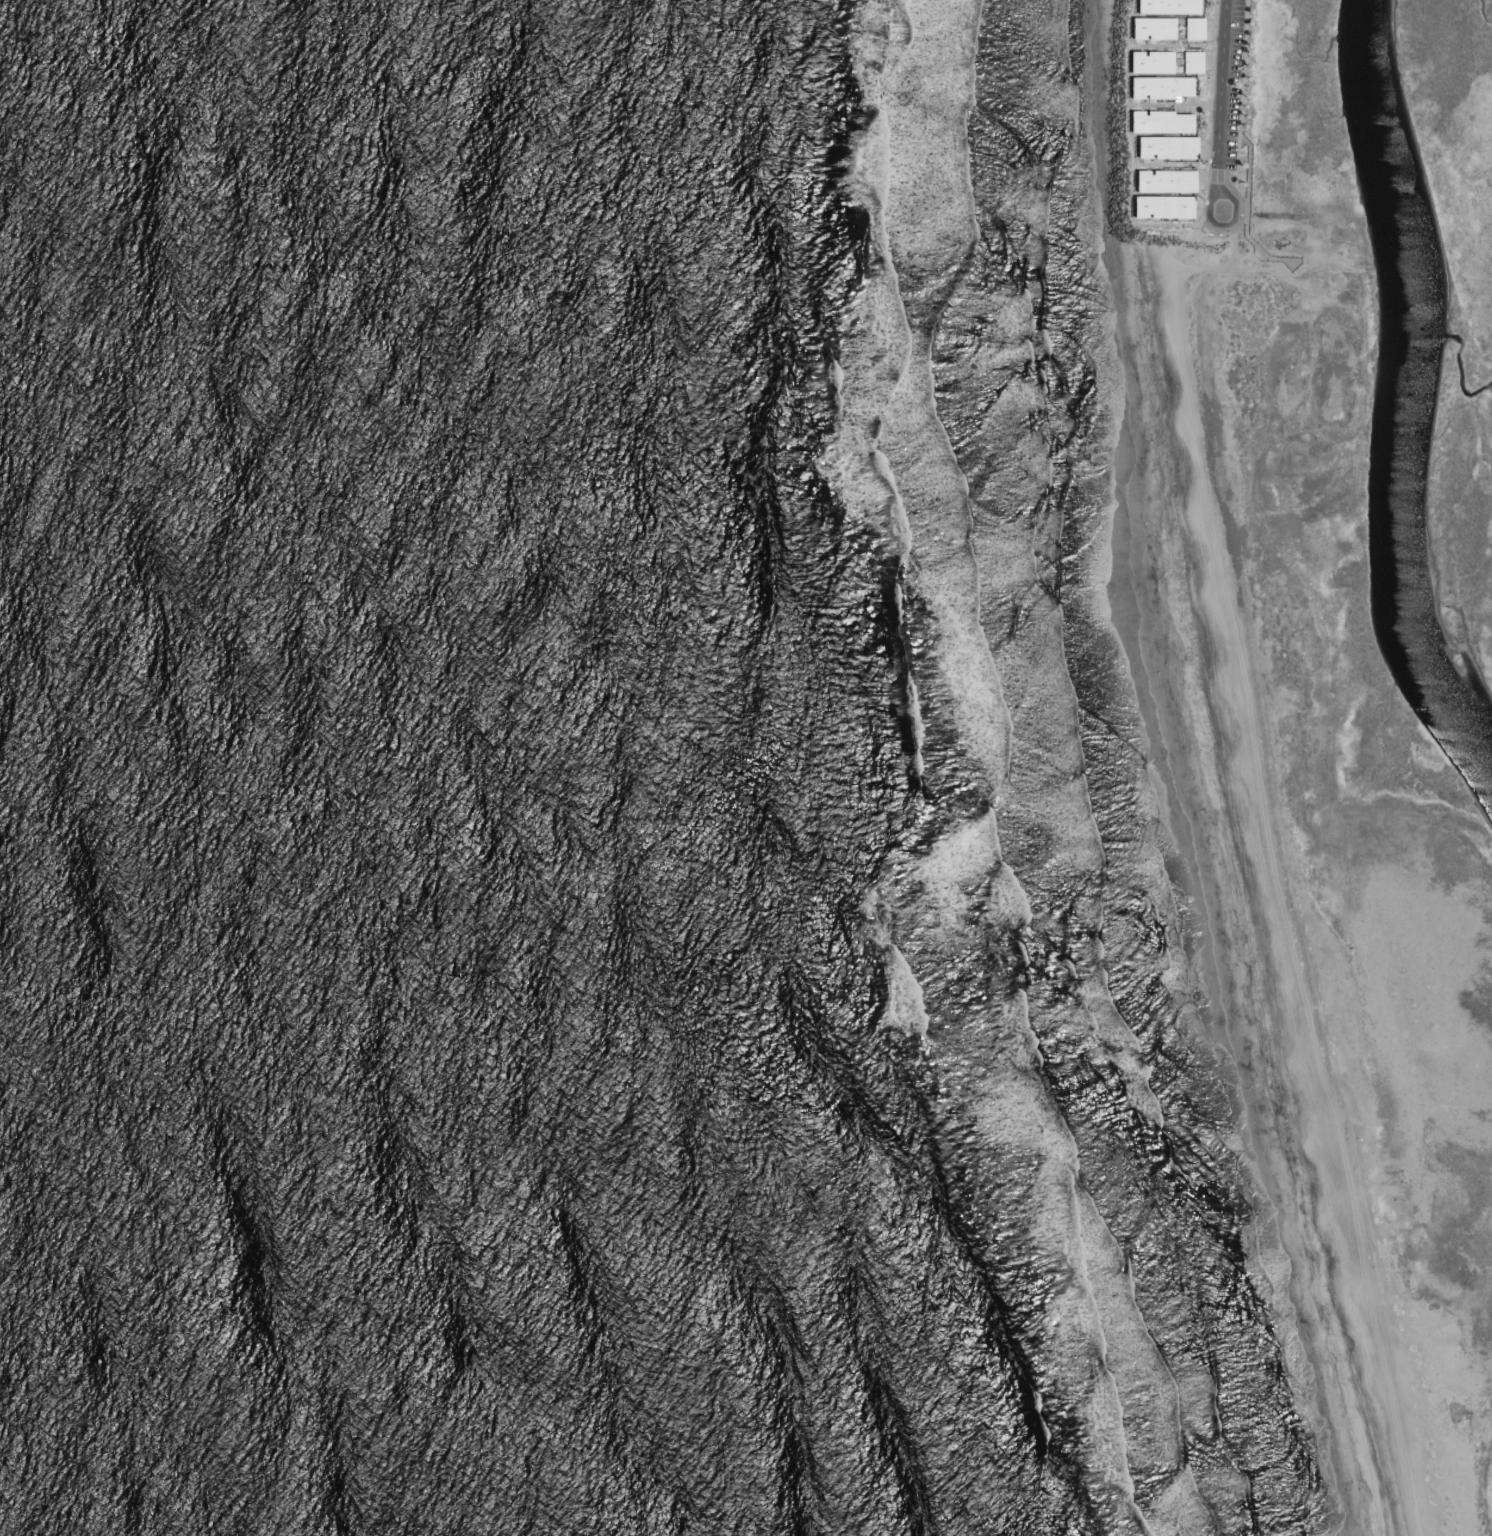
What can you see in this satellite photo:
building: (1150, 6)
building: (1172, 6)
building: (1190, 6)
building: (1145, 27)
building: (1167, 28)
building: (1195, 28)
road: (1176, 47)
building: (1143, 62)
building: (1165, 62)
building: (1193, 62)
building: (1143, 87)
building: (1174, 87)
road: (1173, 107)
road: (1220, 107)
building: (1143, 121)
building: (1174, 123)
building: (1150, 147)
building: (1181, 147)
road: (1131, 159)
road: (1175, 165)
building: (1148, 181)
building: (1179, 182)
building: (1146, 207)
building: (1176, 207)
river: (1412, 394)

